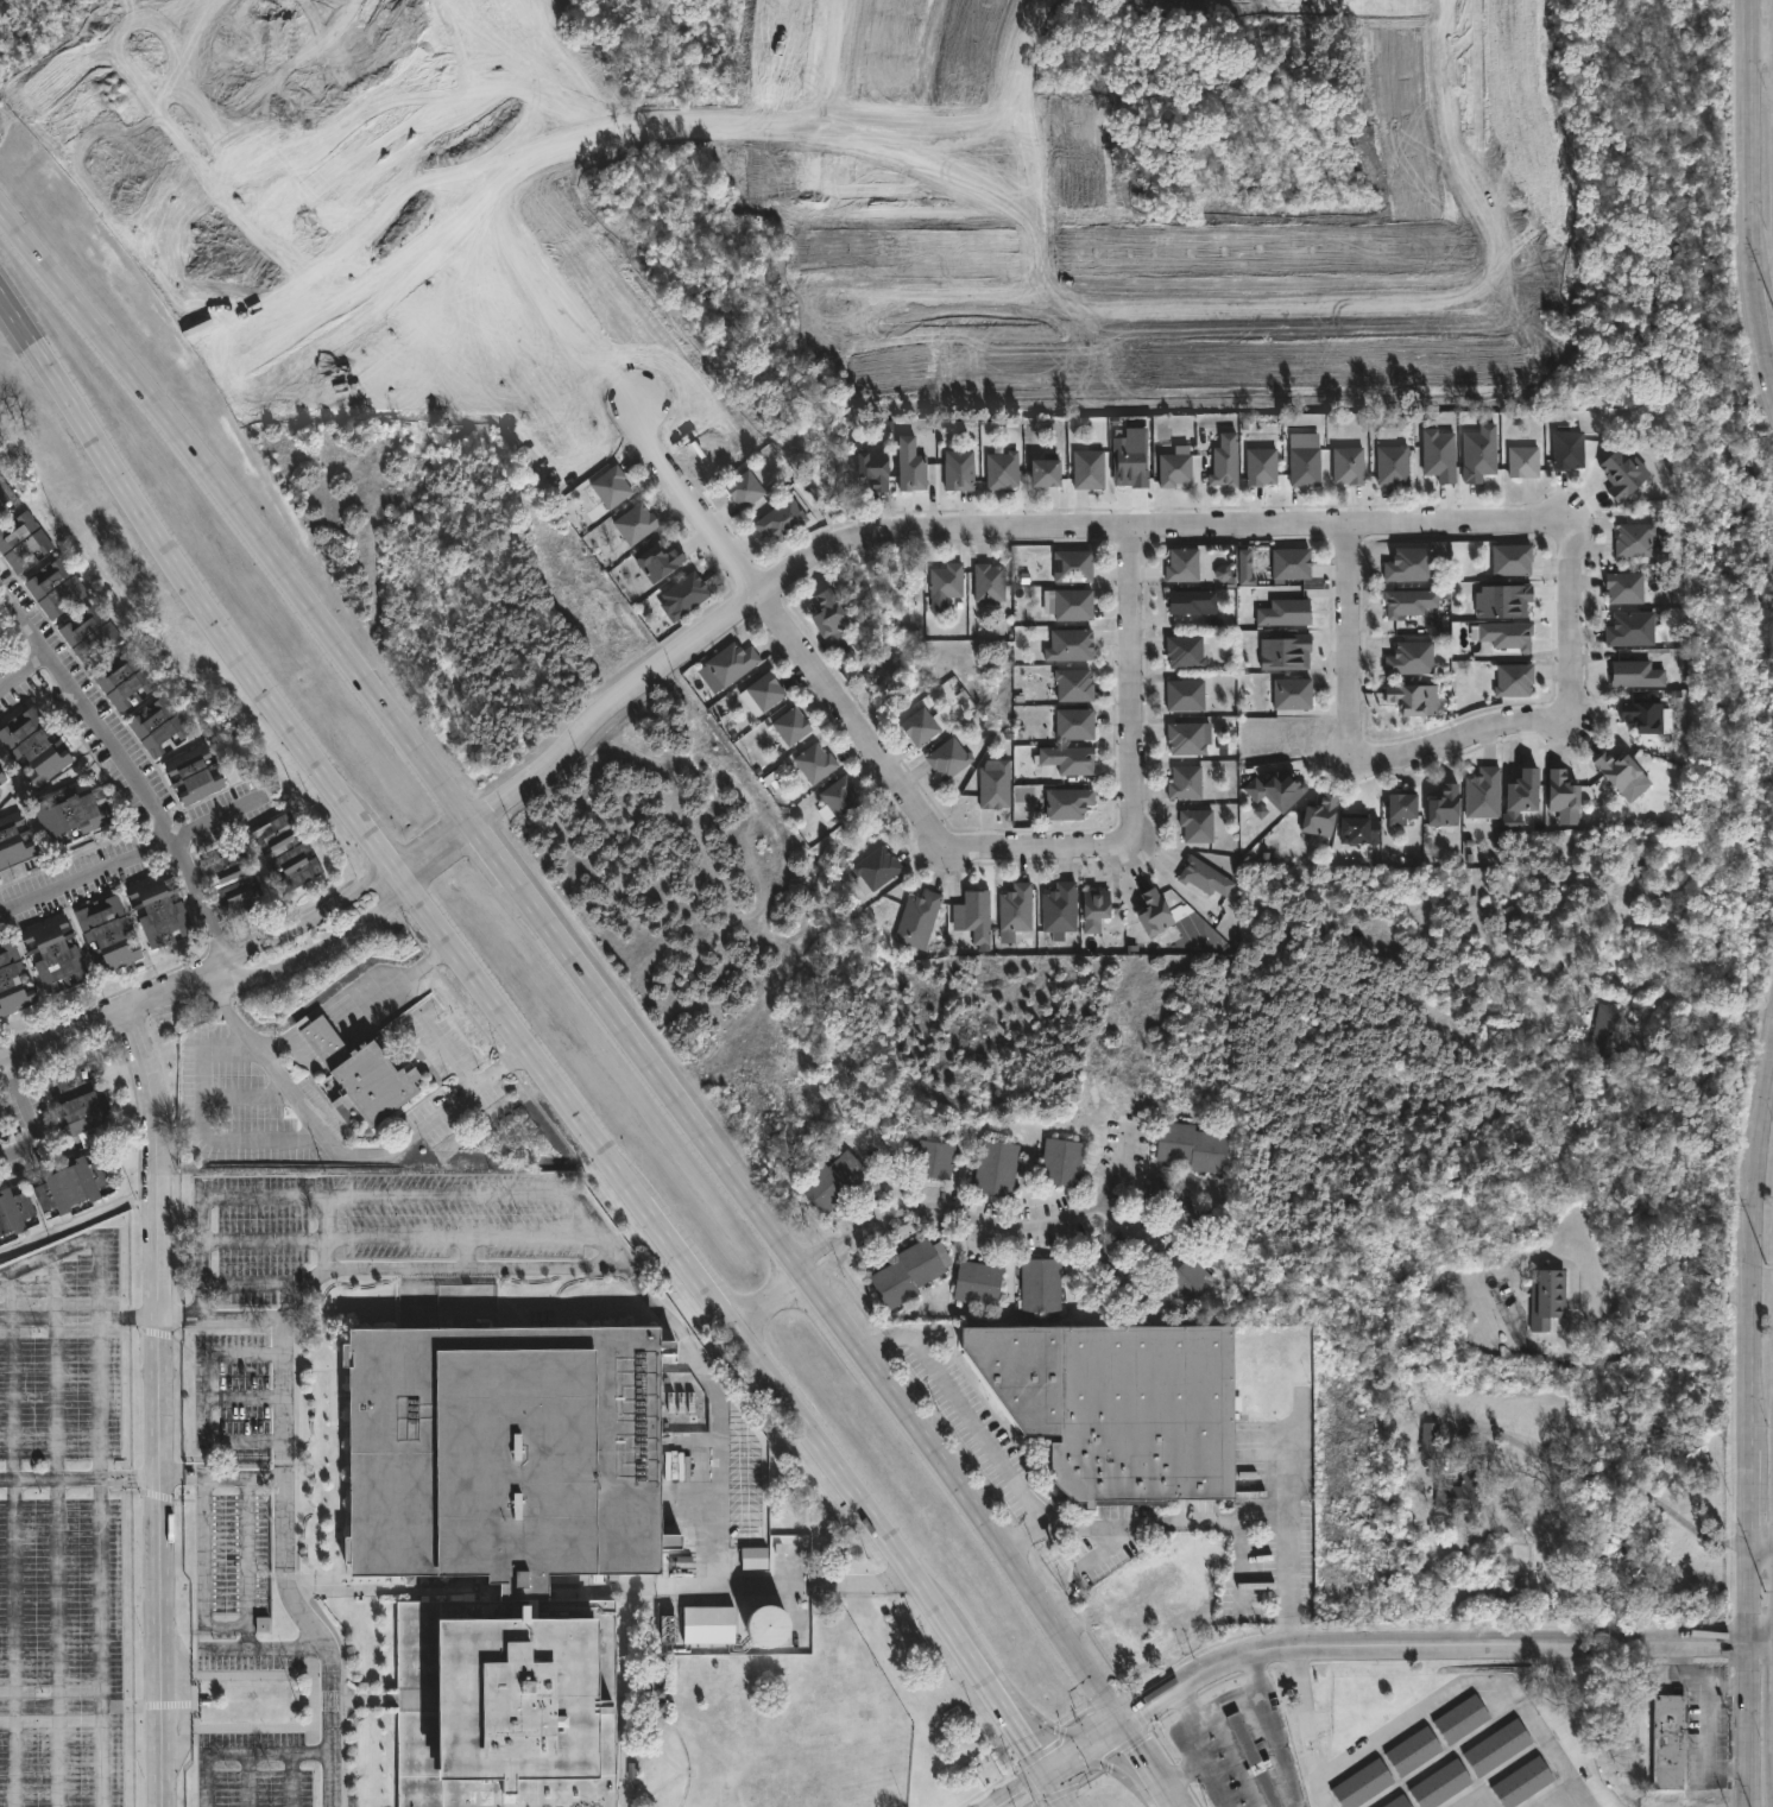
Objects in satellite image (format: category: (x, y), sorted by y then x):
road: (1761, 46)
road: (1752, 191)
building: (1567, 449)
building: (1478, 454)
building: (1439, 455)
building: (1130, 457)
building: (1224, 461)
building: (1523, 461)
building: (909, 465)
building: (1305, 465)
building: (1348, 465)
building: (1393, 465)
building: (1260, 466)
building: (872, 467)
building: (1173, 468)
building: (1002, 469)
building: (1043, 469)
building: (1087, 469)
building: (959, 474)
building: (1622, 474)
building: (610, 486)
building: (743, 488)
building: (5, 498)
building: (780, 518)
building: (635, 522)
road: (971, 530)
building: (21, 539)
building: (1634, 539)
building: (1512, 558)
building: (657, 560)
building: (1291, 563)
building: (1181, 564)
building: (1408, 564)
building: (1072, 566)
building: (1244, 567)
building: (1224, 575)
building: (946, 581)
building: (988, 581)
building: (53, 586)
building: (1624, 587)
building: (683, 594)
building: (1188, 601)
building: (1408, 601)
building: (1502, 601)
building: (1072, 604)
building: (1285, 612)
building: (826, 613)
road: (1566, 618)
road: (21, 623)
road: (784, 626)
building: (1630, 628)
building: (88, 633)
building: (1507, 634)
road: (1344, 636)
building: (2, 640)
building: (1068, 644)
building: (1, 647)
building: (1184, 651)
building: (1285, 653)
building: (1409, 657)
building: (731, 662)
building: (1636, 674)
building: (1514, 678)
building: (121, 680)
building: (1073, 684)
road: (1130, 685)
building: (763, 690)
building: (1292, 693)
building: (1184, 695)
building: (1412, 699)
building: (1648, 715)
building: (1073, 724)
building: (157, 725)
building: (790, 726)
building: (920, 726)
road: (1456, 734)
building: (1185, 738)
building: (33, 746)
building: (947, 758)
building: (1068, 759)
building: (814, 763)
building: (1617, 769)
building: (191, 775)
building: (1, 778)
road: (133, 782)
building: (993, 783)
building: (1182, 783)
building: (1276, 790)
building: (1561, 791)
building: (1024, 794)
building: (1483, 794)
building: (839, 797)
building: (1520, 798)
building: (1067, 802)
building: (1443, 805)
building: (1401, 808)
building: (70, 811)
building: (1260, 811)
building: (1319, 815)
building: (1195, 824)
building: (1358, 830)
building: (12, 841)
road: (1041, 847)
building: (285, 851)
road: (116, 855)
building: (876, 867)
building: (1203, 878)
building: (232, 883)
building: (1016, 908)
building: (157, 909)
building: (1059, 910)
building: (1093, 910)
building: (1153, 914)
building: (977, 915)
building: (917, 920)
building: (106, 934)
road: (308, 937)
building: (52, 953)
road: (574, 959)
building: (12, 981)
road: (390, 984)
road: (1696, 996)
road: (313, 1031)
building: (1608, 1032)
road: (59, 1034)
road: (280, 1045)
road: (535, 1049)
building: (358, 1073)
building: (77, 1108)
road: (27, 1116)
building: (1191, 1146)
road: (347, 1154)
building: (932, 1158)
building: (1061, 1163)
building: (995, 1168)
building: (834, 1182)
building: (69, 1184)
road: (455, 1192)
road: (212, 1195)
building: (1186, 1209)
building: (13, 1212)
road: (1128, 1217)
road: (1026, 1225)
road: (598, 1227)
road: (326, 1232)
road: (402, 1237)
road: (820, 1249)
road: (468, 1252)
road: (828, 1261)
building: (909, 1271)
building: (1115, 1277)
building: (1190, 1282)
road: (252, 1283)
building: (977, 1283)
building: (1040, 1285)
road: (642, 1289)
road: (771, 1296)
building: (1547, 1299)
road: (99, 1301)
road: (130, 1316)
road: (1746, 1334)
road: (1621, 1353)
road: (242, 1396)
road: (203, 1398)
road: (159, 1404)
building: (1118, 1404)
road: (960, 1408)
building: (1430, 1439)
road: (1286, 1466)
road: (131, 1474)
road: (221, 1474)
road: (1602, 1477)
road: (51, 1478)
building: (1463, 1485)
road: (1258, 1503)
road: (57, 1530)
road: (1119, 1536)
building: (509, 1539)
road: (13, 1540)
road: (1760, 1552)
building: (753, 1556)
road: (1096, 1558)
road: (248, 1561)
road: (285, 1568)
road: (203, 1569)
road: (1289, 1574)
road: (648, 1586)
road: (1244, 1587)
road: (103, 1591)
building: (1168, 1598)
building: (761, 1622)
building: (706, 1623)
road: (1351, 1644)
road: (1760, 1644)
road: (261, 1647)
road: (1686, 1669)
road: (1458, 1685)
road: (1191, 1705)
road: (133, 1706)
road: (1305, 1712)
building: (1460, 1718)
road: (1195, 1720)
road: (1747, 1725)
traffic signals: (1122, 1726)
road: (1706, 1727)
building: (1670, 1740)
road: (1280, 1743)
building: (1497, 1746)
building: (1413, 1750)
road: (241, 1752)
road: (106, 1756)
building: (1253, 1759)
road: (1147, 1765)
traffic signals: (1049, 1774)
road: (1181, 1774)
road: (248, 1780)
road: (292, 1780)
building: (1522, 1782)
building: (1362, 1783)
building: (1440, 1783)
road: (1272, 1799)
building: (1399, 1802)
road: (1262, 1805)

